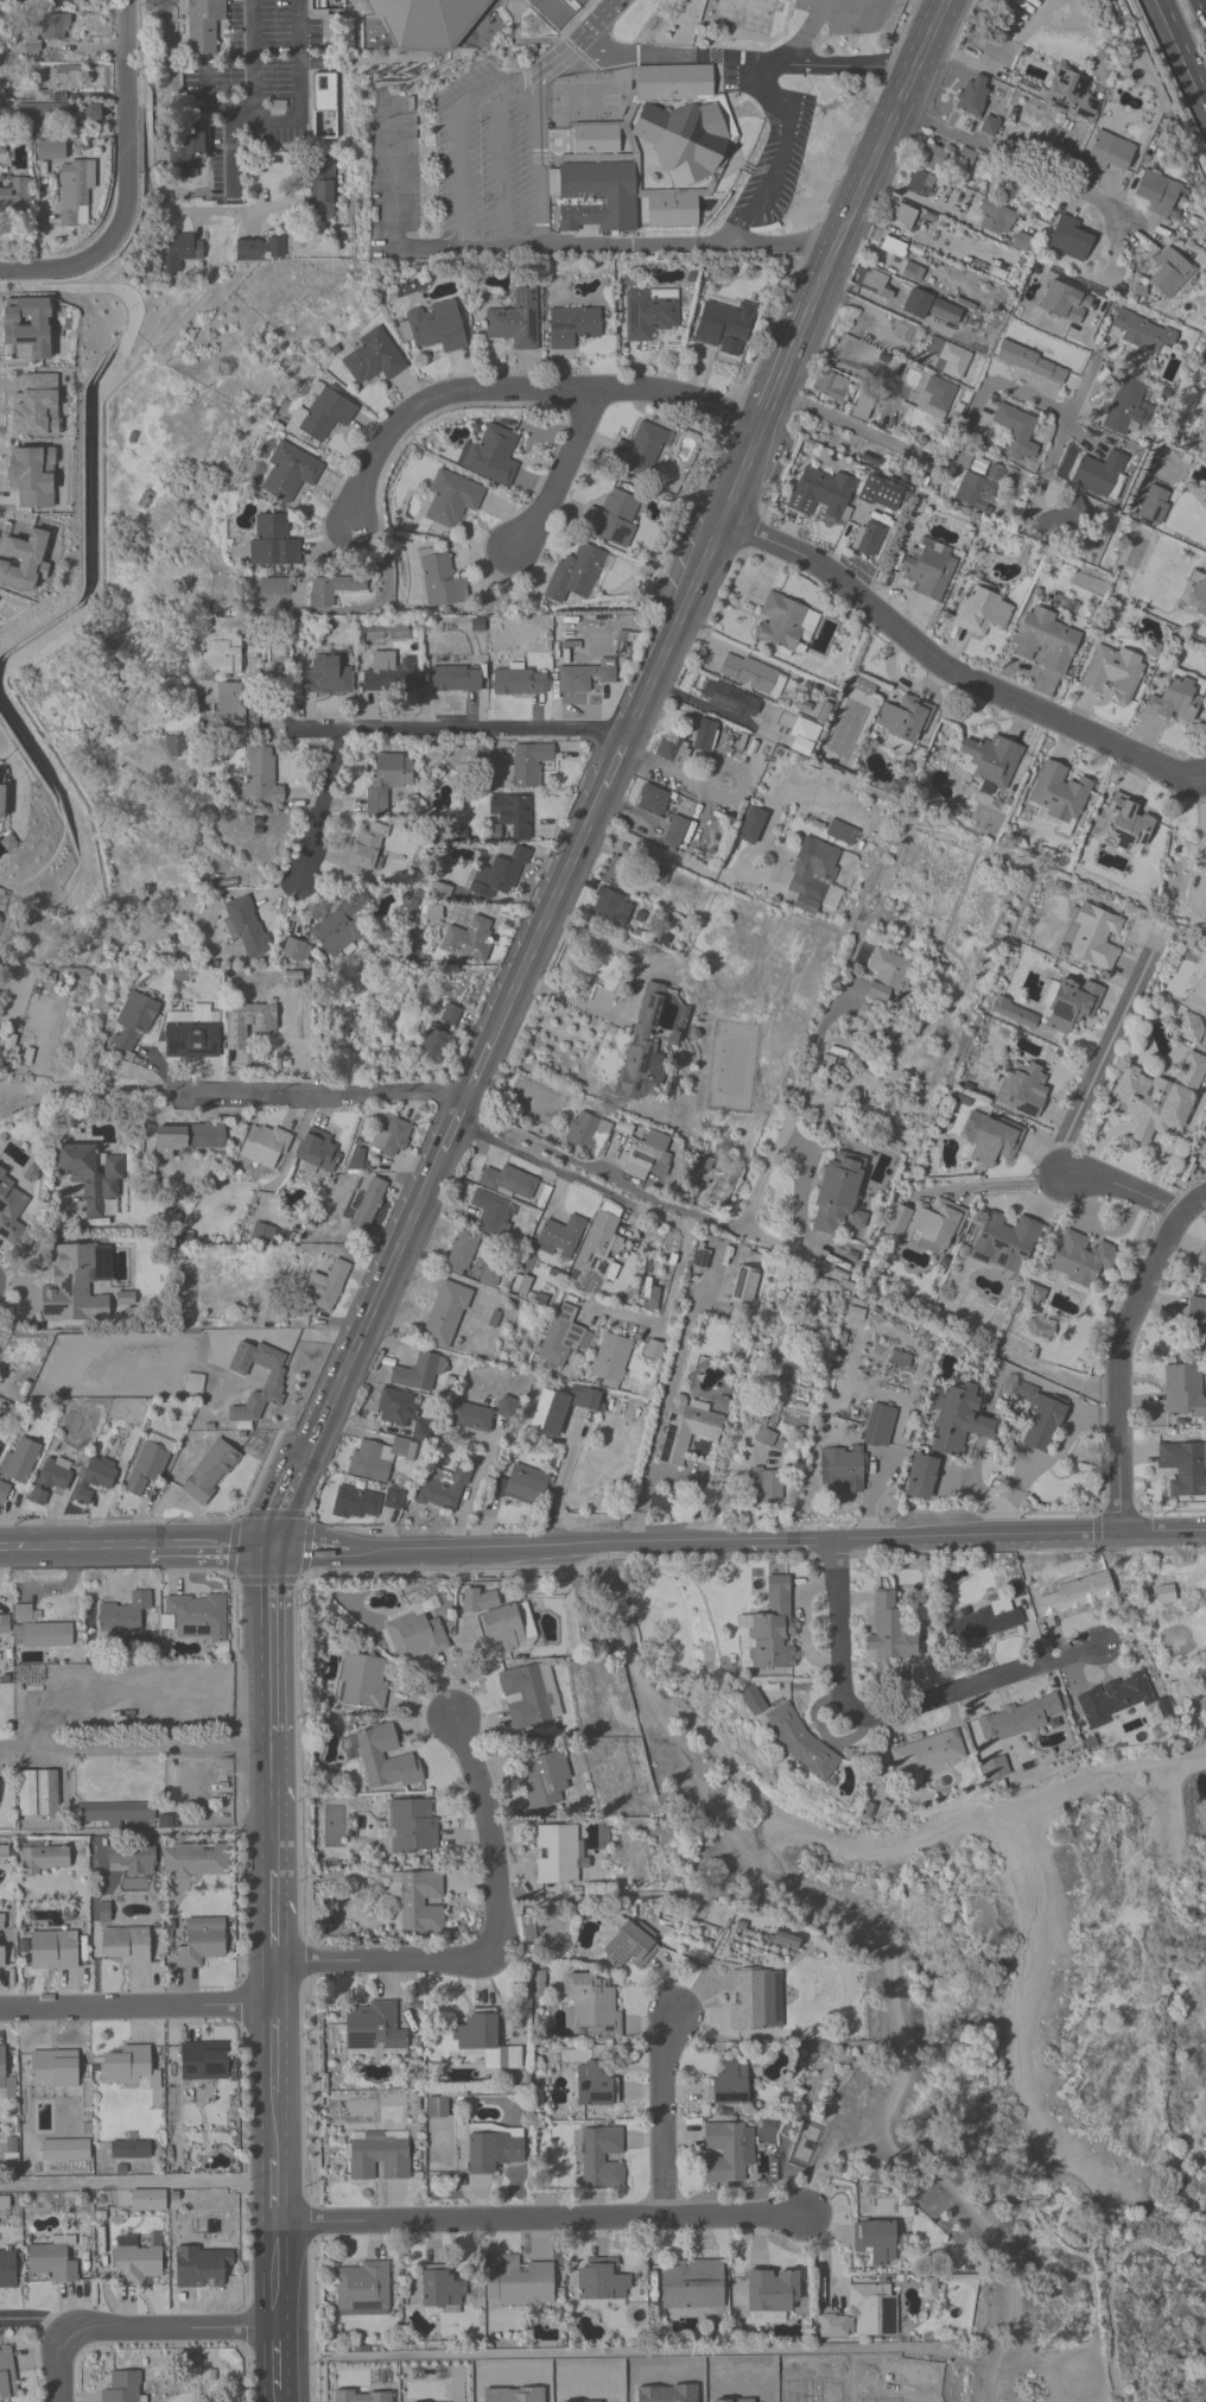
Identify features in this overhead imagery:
road: (1201, 7)
building: (556, 11)
road: (849, 11)
building: (747, 15)
building: (427, 23)
road: (599, 24)
building: (203, 25)
building: (55, 26)
road: (807, 30)
road: (1185, 47)
road: (250, 59)
road: (747, 63)
building: (674, 83)
road: (207, 84)
road: (298, 94)
building: (1072, 94)
building: (973, 95)
building: (51, 100)
road: (228, 107)
building: (989, 127)
building: (688, 141)
road: (123, 144)
building: (186, 144)
road: (877, 152)
building: (1109, 152)
road: (457, 153)
building: (931, 156)
road: (780, 157)
road: (231, 159)
building: (965, 159)
road: (1015, 163)
building: (920, 183)
building: (70, 185)
building: (322, 192)
building: (1157, 192)
building: (15, 196)
building: (596, 196)
road: (160, 199)
road: (916, 199)
road: (392, 208)
building: (671, 209)
building: (902, 216)
building: (996, 218)
building: (1068, 239)
building: (1021, 242)
road: (691, 245)
building: (891, 247)
building: (259, 249)
building: (179, 251)
road: (38, 270)
building: (913, 273)
building: (1169, 274)
building: (872, 283)
building: (649, 313)
building: (515, 322)
building: (723, 323)
building: (434, 327)
building: (572, 327)
building: (1142, 331)
building: (947, 357)
building: (373, 359)
building: (1030, 363)
road: (786, 365)
road: (849, 367)
road: (522, 386)
building: (937, 397)
building: (1125, 405)
road: (1072, 412)
building: (323, 416)
building: (1016, 432)
building: (639, 451)
building: (1205, 451)
building: (493, 456)
road: (942, 460)
building: (291, 471)
road: (741, 471)
building: (1098, 473)
road: (559, 474)
building: (978, 489)
building: (821, 494)
building: (882, 494)
building: (451, 499)
building: (1154, 505)
building: (612, 518)
building: (1060, 520)
building: (868, 539)
building: (273, 544)
building: (928, 571)
building: (576, 575)
building: (439, 579)
building: (273, 588)
building: (330, 590)
building: (1198, 594)
building: (982, 611)
building: (785, 623)
road: (674, 630)
building: (1046, 641)
building: (226, 646)
building: (1113, 672)
building: (751, 674)
road: (953, 674)
building: (389, 676)
building: (325, 678)
building: (456, 679)
building: (582, 679)
building: (519, 682)
building: (730, 698)
building: (1176, 702)
building: (235, 706)
building: (904, 721)
road: (462, 734)
building: (704, 736)
building: (671, 750)
building: (990, 762)
road: (616, 765)
building: (527, 766)
building: (261, 778)
building: (386, 780)
building: (1058, 798)
building: (652, 801)
road: (324, 807)
building: (512, 815)
building: (751, 825)
building: (1125, 825)
building: (674, 832)
building: (364, 853)
road: (1202, 853)
building: (617, 870)
building: (501, 875)
building: (656, 875)
building: (812, 875)
building: (610, 907)
road: (550, 917)
building: (246, 926)
building: (342, 926)
building: (1093, 938)
building: (469, 940)
building: (293, 951)
building: (886, 976)
building: (1202, 976)
building: (1069, 1004)
building: (450, 1015)
building: (1022, 1019)
building: (132, 1022)
building: (248, 1023)
building: (1189, 1027)
building: (191, 1037)
building: (433, 1045)
building: (643, 1047)
road: (1106, 1067)
road: (477, 1077)
building: (1021, 1088)
road: (90, 1092)
road: (324, 1094)
road: (12, 1097)
building: (1157, 1098)
road: (785, 1124)
road: (453, 1130)
building: (588, 1133)
building: (392, 1137)
building: (991, 1139)
building: (186, 1140)
building: (265, 1146)
building: (318, 1151)
building: (647, 1158)
road: (584, 1165)
building: (90, 1175)
building: (509, 1183)
road: (1007, 1184)
building: (838, 1196)
road: (1123, 1197)
building: (368, 1205)
road: (643, 1208)
building: (12, 1209)
building: (490, 1211)
road: (800, 1211)
building: (928, 1224)
building: (559, 1237)
road: (39, 1238)
building: (1005, 1243)
building: (597, 1246)
building: (462, 1253)
building: (1083, 1259)
building: (1205, 1261)
building: (488, 1276)
building: (744, 1287)
building: (72, 1288)
building: (323, 1291)
road: (26, 1295)
building: (653, 1297)
road: (374, 1312)
building: (445, 1314)
building: (1195, 1325)
building: (560, 1336)
building: (653, 1351)
road: (1122, 1352)
building: (610, 1360)
building: (417, 1373)
building: (273, 1383)
building: (1182, 1392)
road: (665, 1402)
building: (396, 1407)
building: (564, 1409)
building: (480, 1415)
building: (958, 1419)
building: (1042, 1422)
building: (420, 1430)
building: (688, 1430)
building: (874, 1431)
building: (766, 1438)
building: (379, 1458)
building: (20, 1462)
building: (146, 1468)
building: (1183, 1469)
building: (843, 1470)
building: (100, 1472)
building: (210, 1472)
building: (53, 1475)
building: (920, 1478)
road: (561, 1485)
building: (522, 1487)
building: (766, 1488)
building: (443, 1489)
building: (4, 1490)
building: (83, 1494)
road: (471, 1496)
building: (38, 1497)
building: (356, 1503)
road: (286, 1511)
road: (1020, 1533)
road: (789, 1539)
road: (546, 1542)
road: (309, 1552)
road: (208, 1553)
road: (74, 1554)
building: (1074, 1595)
building: (123, 1614)
building: (196, 1616)
building: (501, 1618)
building: (982, 1623)
building: (4, 1624)
building: (769, 1630)
building: (890, 1630)
building: (39, 1631)
building: (415, 1631)
road: (269, 1642)
building: (363, 1682)
building: (529, 1696)
building: (1119, 1701)
road: (897, 1709)
building: (1018, 1718)
building: (792, 1735)
road: (135, 1749)
building: (927, 1754)
building: (386, 1761)
road: (1105, 1774)
building: (545, 1780)
building: (37, 1783)
building: (215, 1786)
road: (272, 1801)
building: (115, 1813)
road: (721, 1817)
building: (412, 1826)
road: (135, 1831)
road: (1017, 1833)
road: (488, 1842)
building: (4, 1851)
building: (557, 1855)
building: (43, 1859)
building: (196, 1862)
building: (419, 1900)
road: (1113, 1918)
road: (273, 1920)
building: (785, 1939)
building: (1, 1942)
building: (201, 1944)
building: (627, 1944)
building: (125, 1946)
building: (52, 1951)
road: (1153, 1951)
road: (385, 1967)
road: (274, 1989)
building: (749, 2001)
building: (594, 2007)
road: (138, 2010)
building: (374, 2030)
park: (1004, 2035)
building: (484, 2041)
road: (275, 2051)
building: (202, 2064)
building: (2, 2065)
road: (1147, 2065)
building: (127, 2067)
building: (52, 2072)
building: (595, 2085)
building: (730, 2085)
building: (437, 2106)
road: (662, 2117)
road: (275, 2125)
road: (888, 2137)
building: (494, 2148)
building: (131, 2149)
building: (64, 2150)
building: (726, 2151)
building: (377, 2156)
building: (602, 2159)
road: (139, 2185)
road: (278, 2189)
road: (1111, 2193)
building: (147, 2200)
road: (539, 2218)
building: (880, 2241)
road: (1155, 2245)
building: (52, 2261)
building: (134, 2262)
building: (198, 2268)
building: (7, 2270)
road: (279, 2276)
building: (518, 2283)
building: (602, 2283)
building: (692, 2286)
building: (362, 2289)
building: (440, 2290)
building: (773, 2292)
building: (859, 2314)
road: (138, 2332)
road: (280, 2365)
road: (61, 2368)
building: (7, 2376)
building: (598, 2385)
building: (863, 2387)
building: (123, 2388)
road: (281, 2401)

